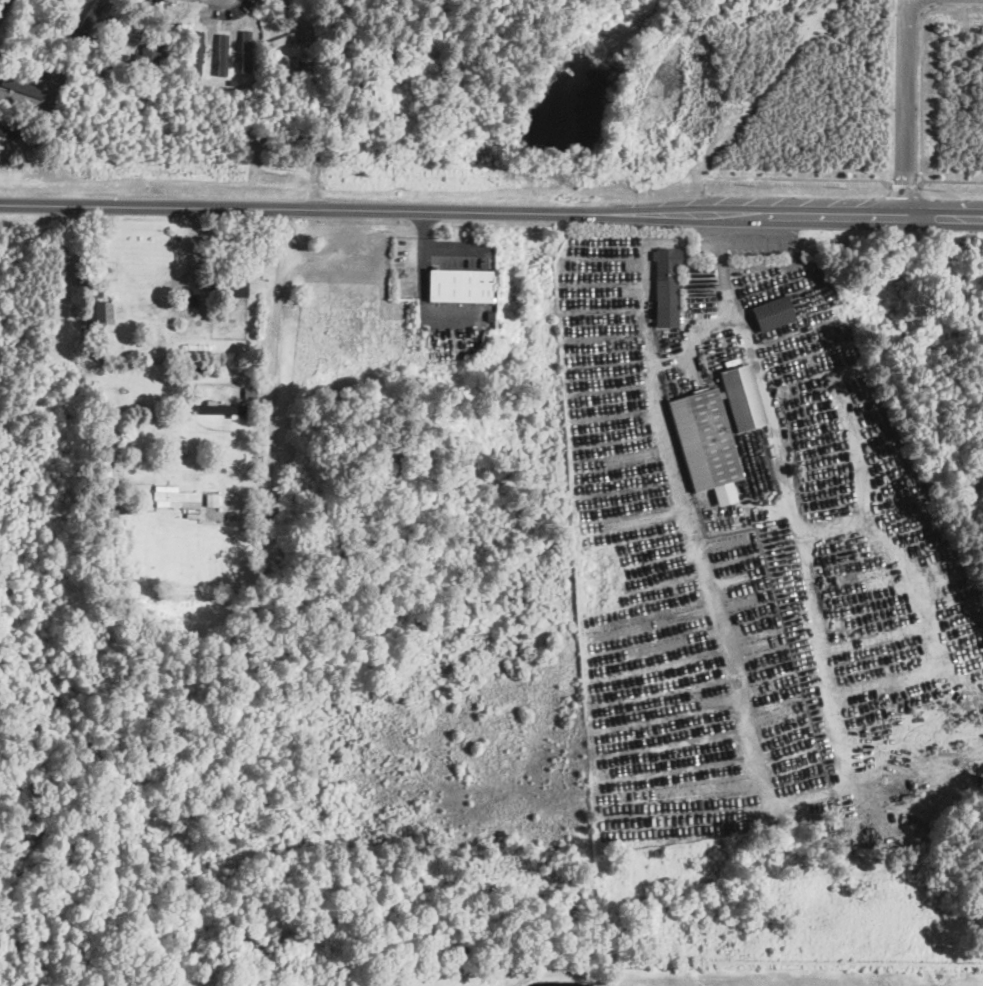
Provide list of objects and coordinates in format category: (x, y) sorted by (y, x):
road: (4, 7)
building: (84, 22)
building: (150, 50)
building: (246, 50)
building: (197, 52)
building: (222, 53)
road: (923, 68)
road: (908, 106)
building: (8, 132)
road: (798, 178)
road: (950, 181)
road: (906, 185)
road: (357, 207)
road: (849, 211)
road: (719, 236)
building: (234, 285)
building: (459, 285)
building: (666, 286)
building: (94, 311)
building: (772, 312)
road: (276, 387)
building: (742, 397)
building: (219, 407)
building: (705, 443)
building: (174, 496)
building: (210, 498)
road: (804, 799)

